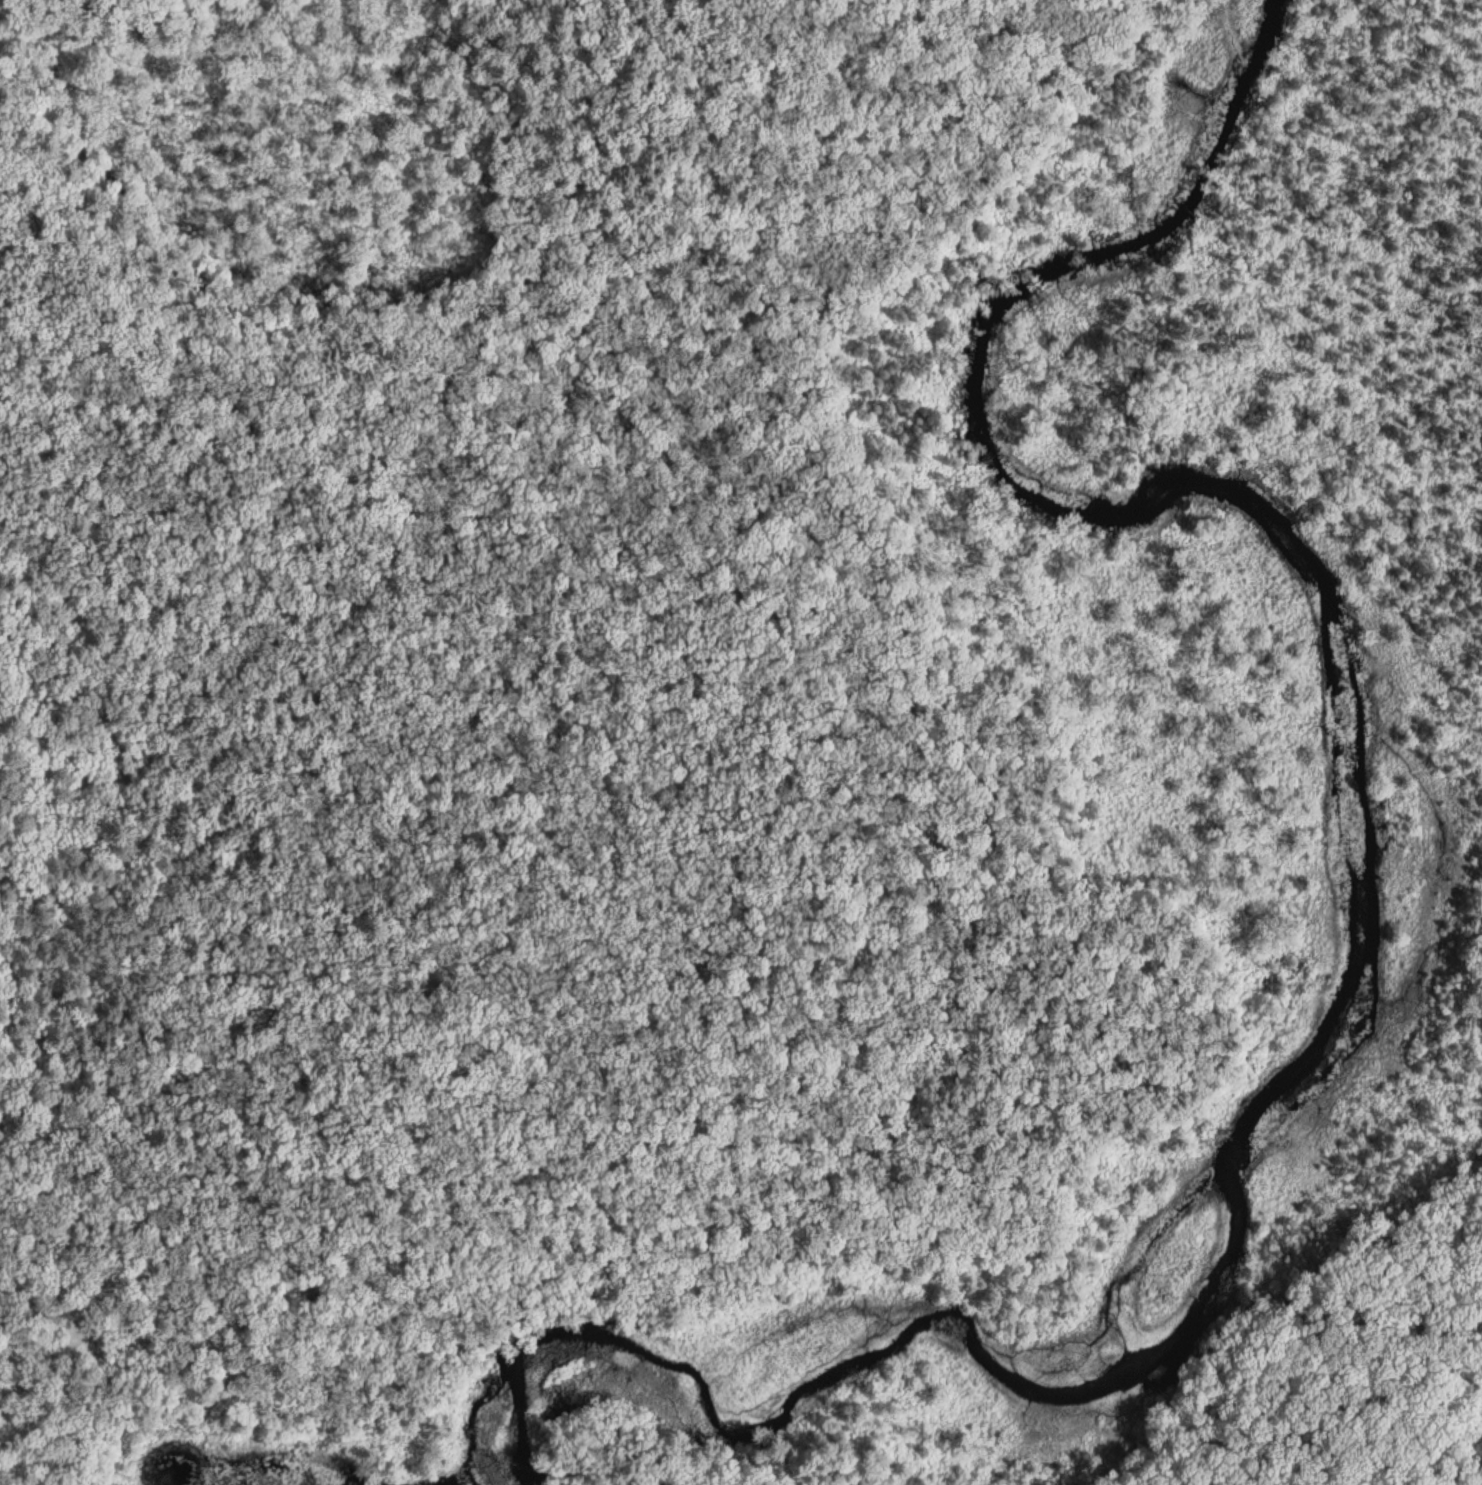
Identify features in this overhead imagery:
road: (1155, 1086)
road: (37, 1355)

